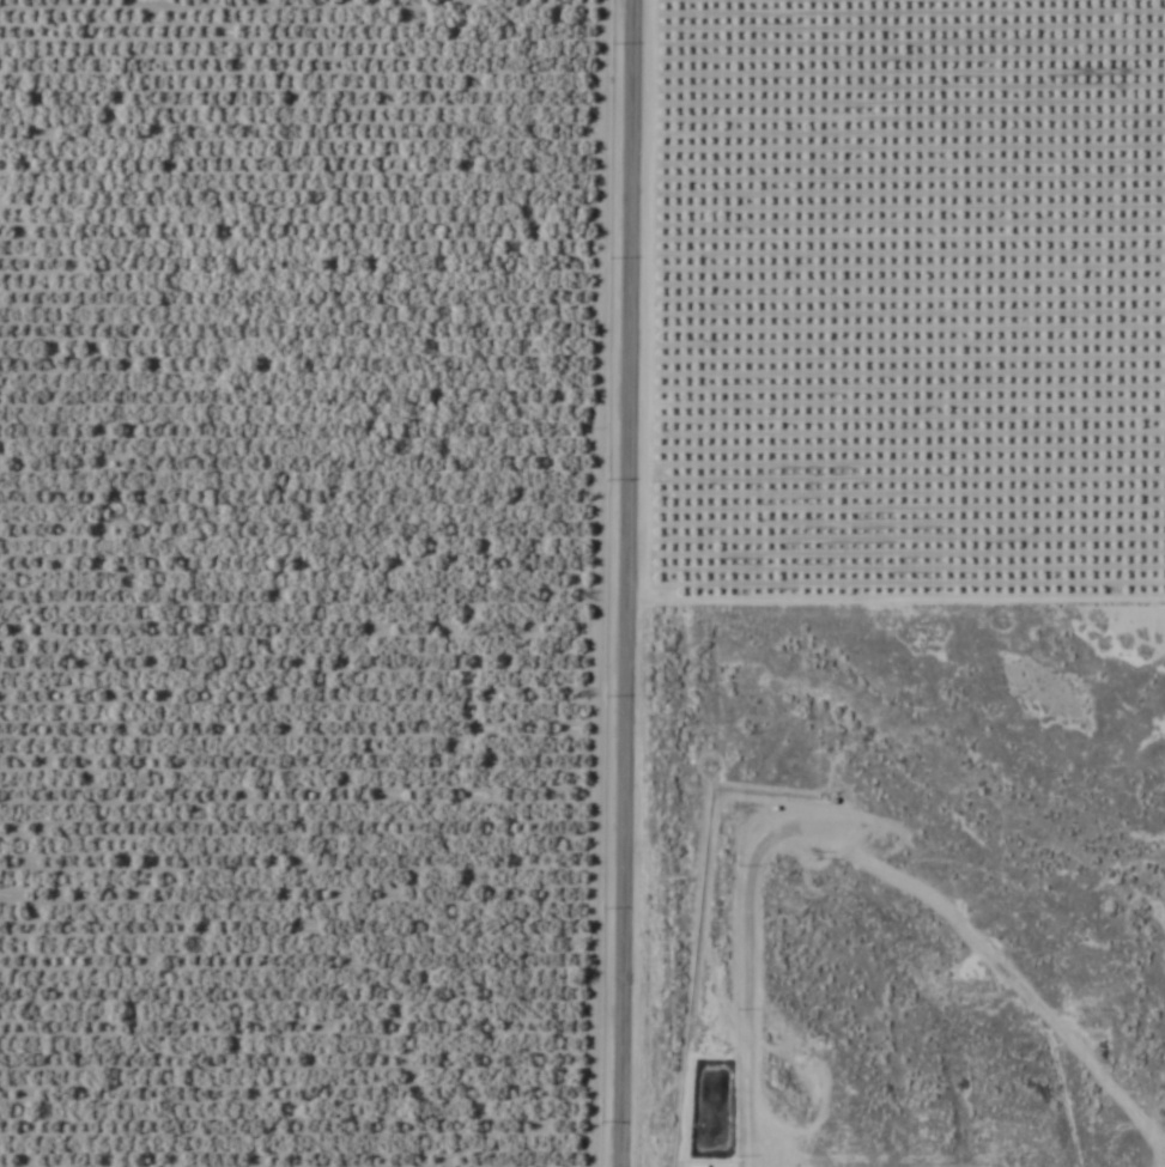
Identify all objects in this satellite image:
road: (627, 583)

